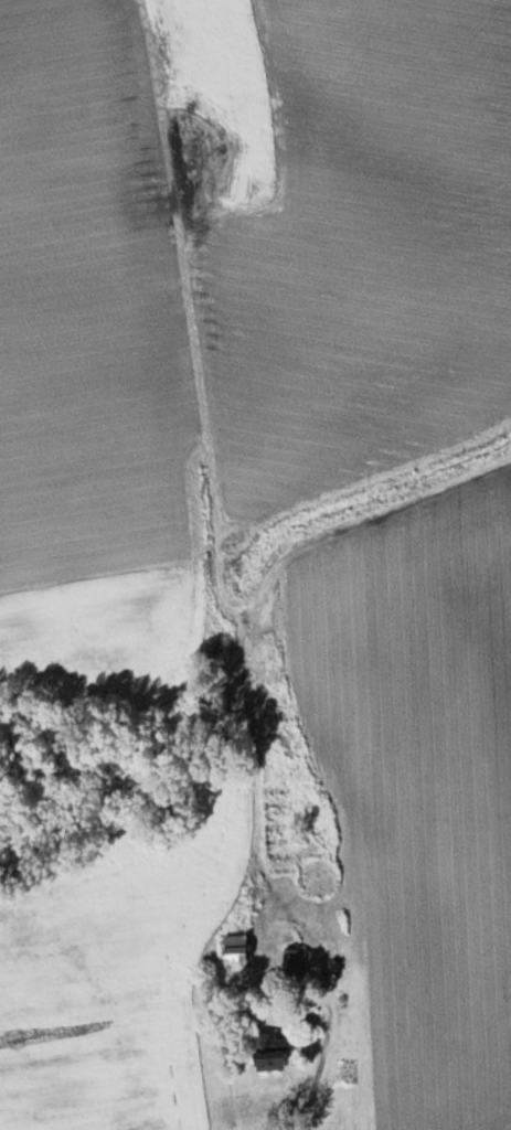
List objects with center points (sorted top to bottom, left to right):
building: (236, 950)
building: (291, 964)
building: (273, 1052)

